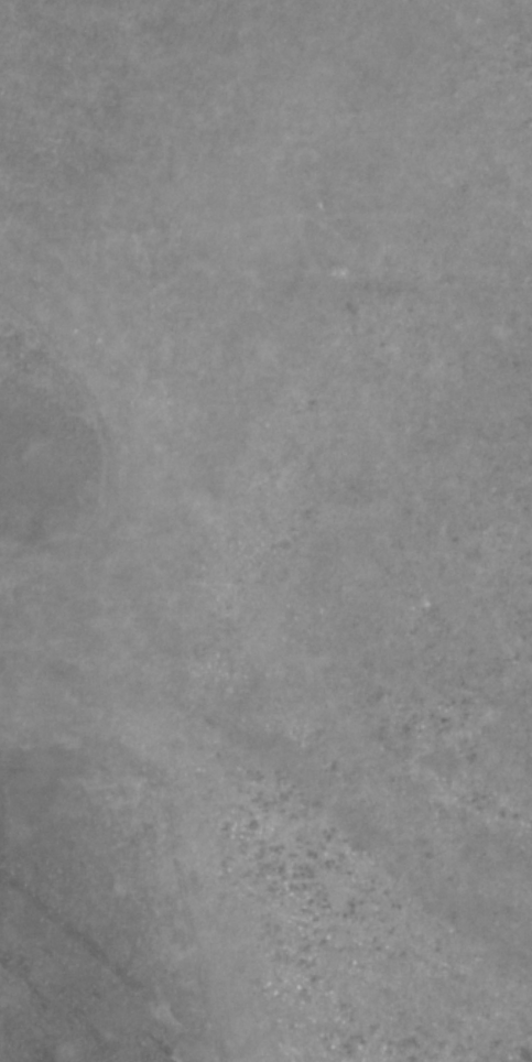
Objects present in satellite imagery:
road: (269, 729)

